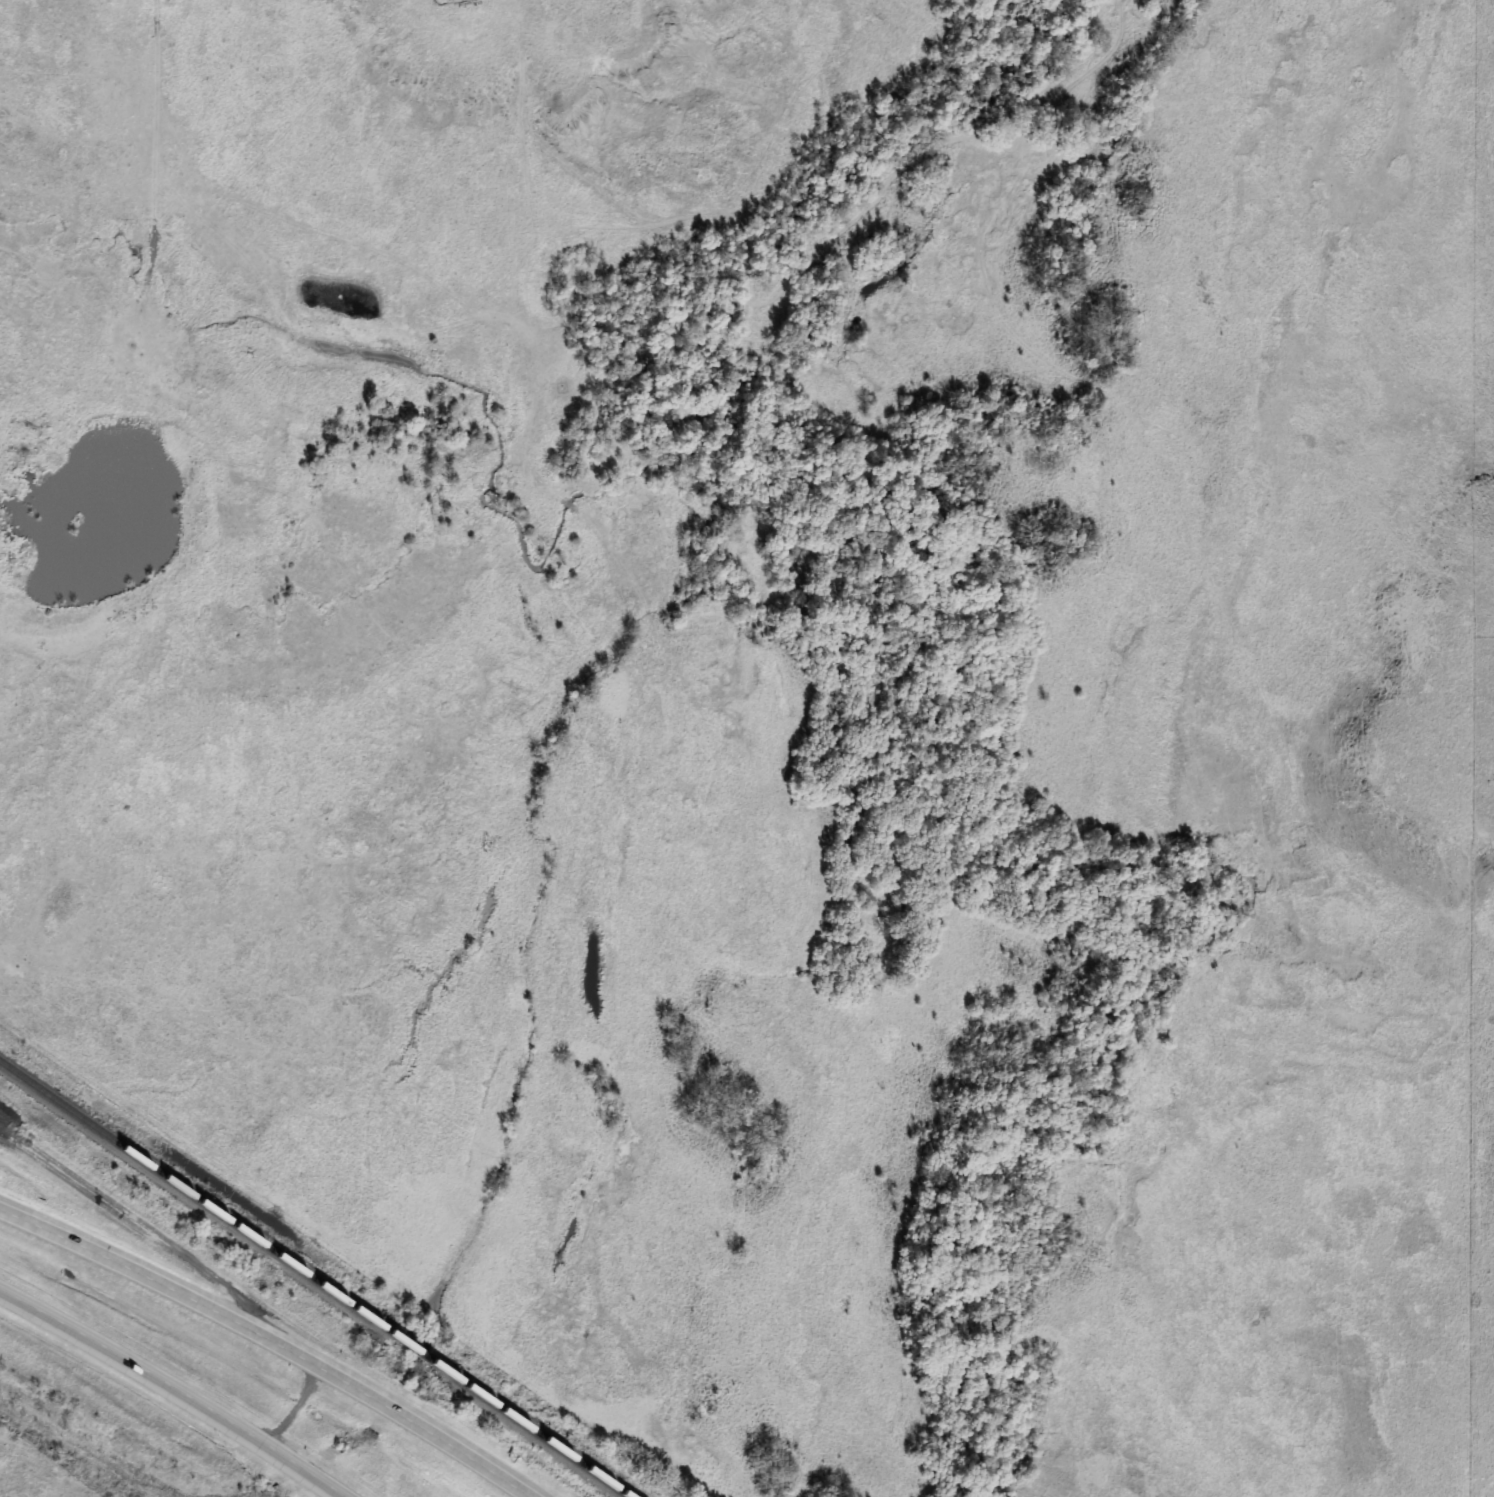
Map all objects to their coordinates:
road: (15, 1143)
railway: (195, 1201)
road: (279, 1338)
railway: (414, 1351)
road: (179, 1386)
railway: (530, 1431)

